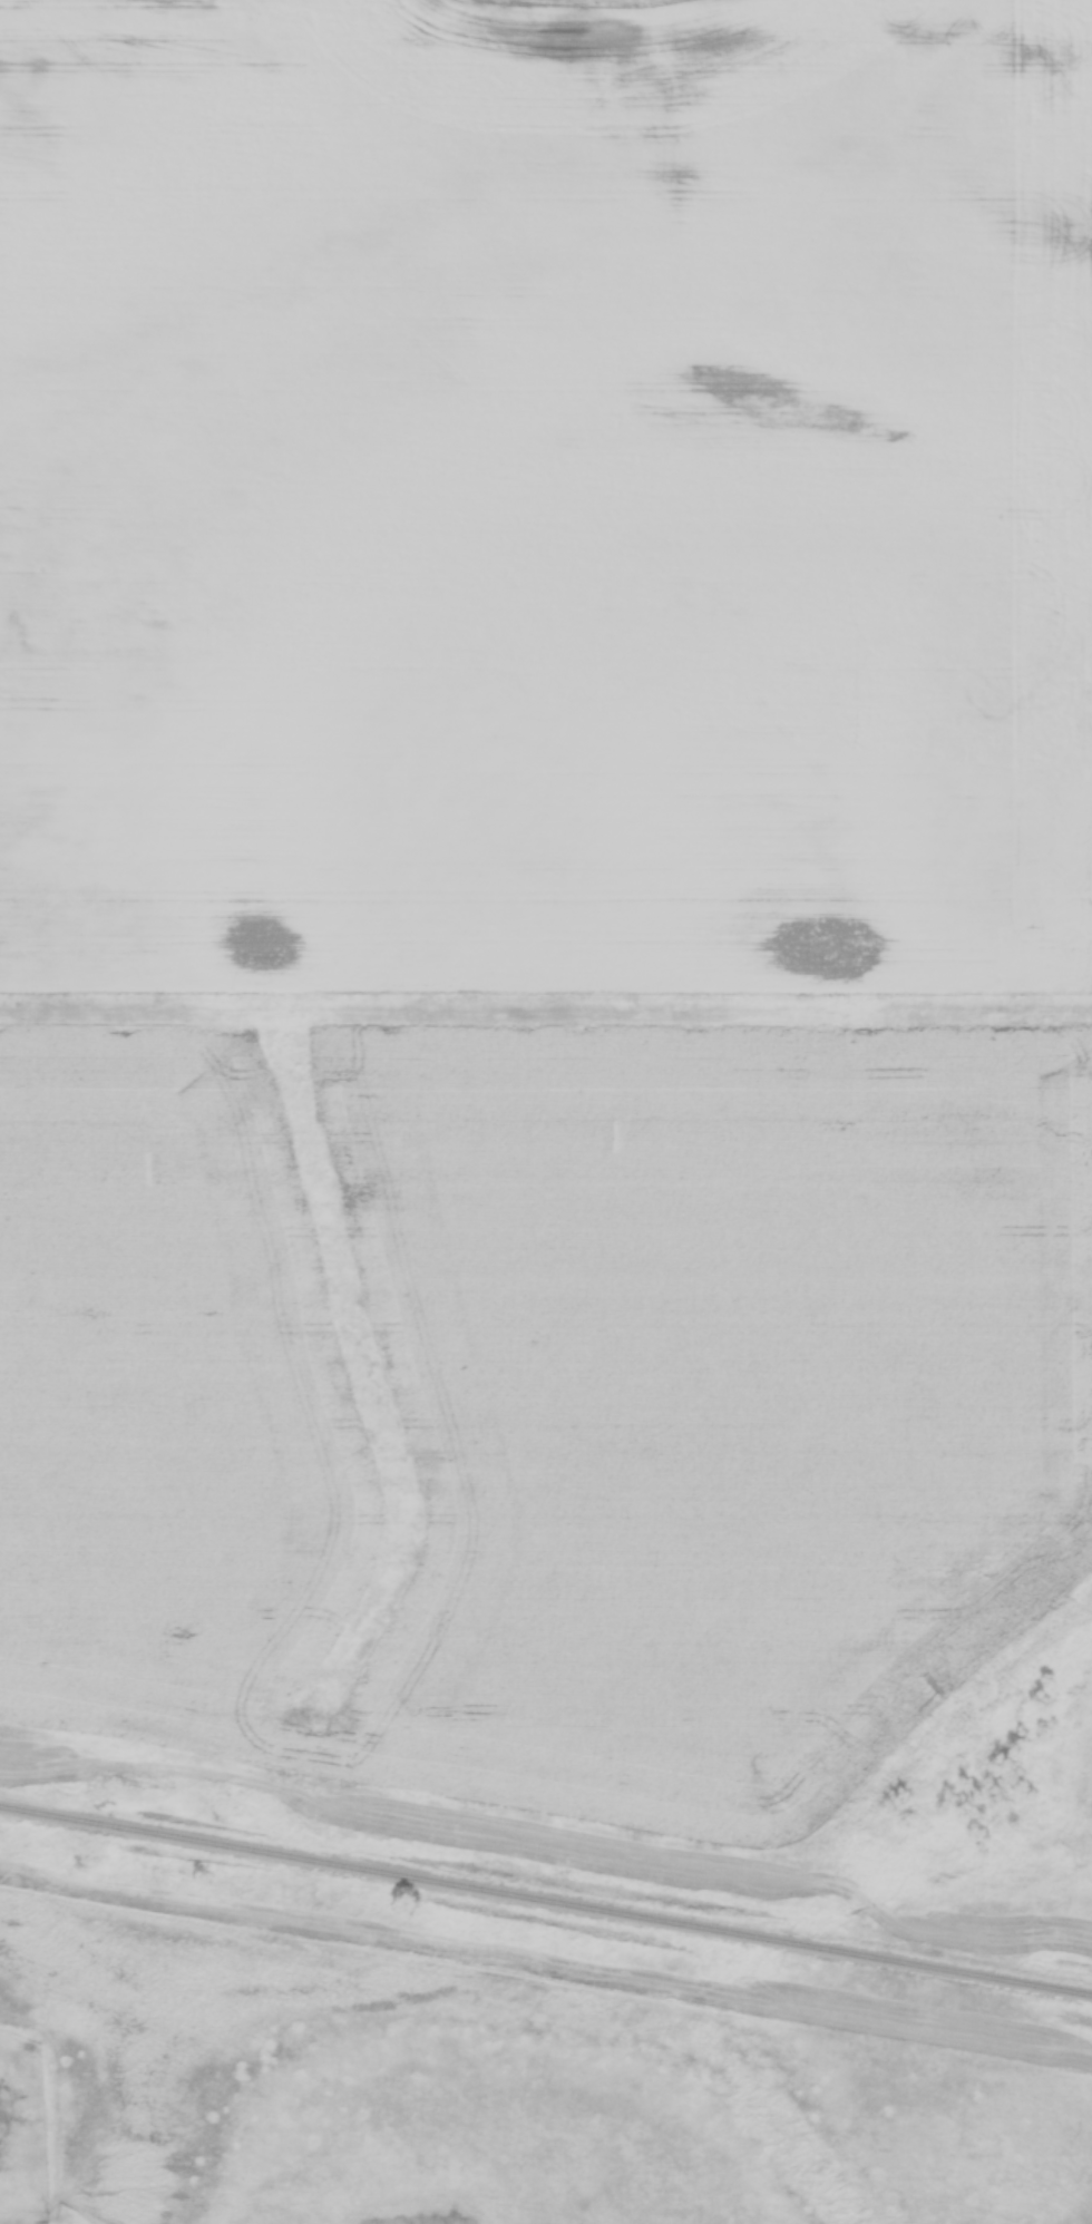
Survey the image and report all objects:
railway: (545, 1902)

